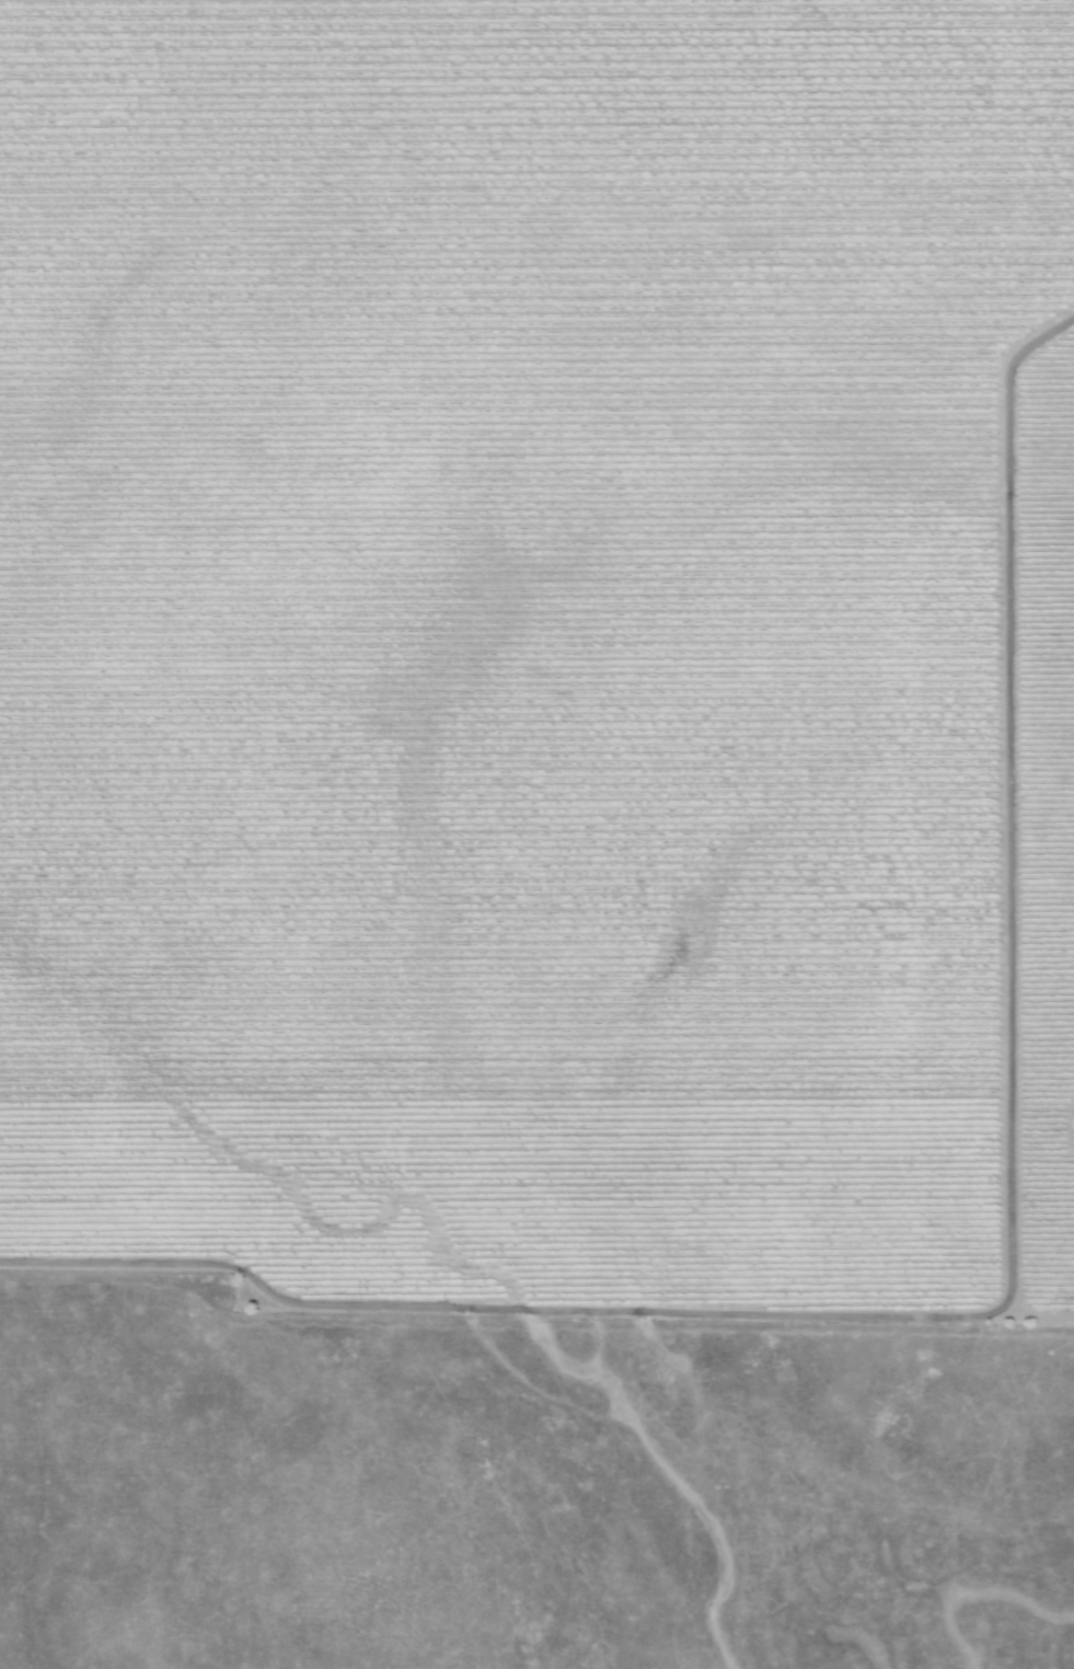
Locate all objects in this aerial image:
road: (103, 1257)

